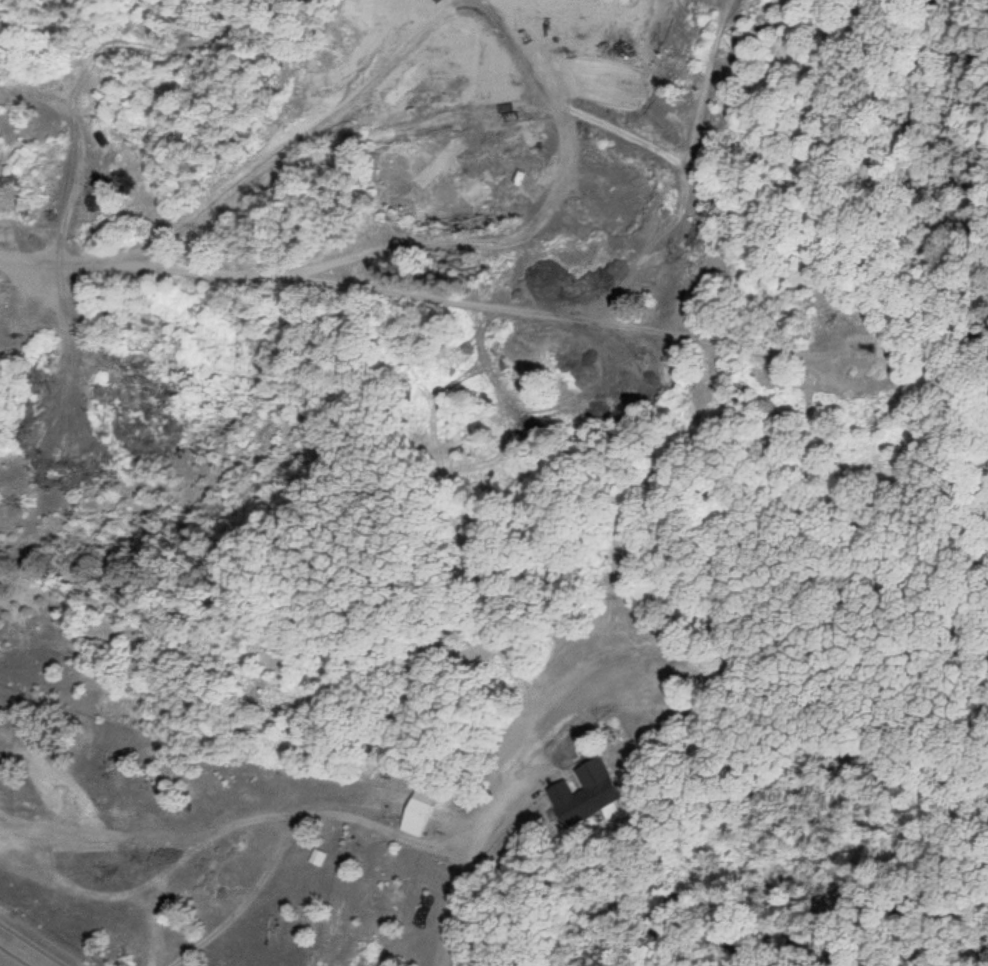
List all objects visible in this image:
building: (664, 250)
building: (674, 668)
building: (595, 790)
building: (418, 817)
road: (23, 950)

